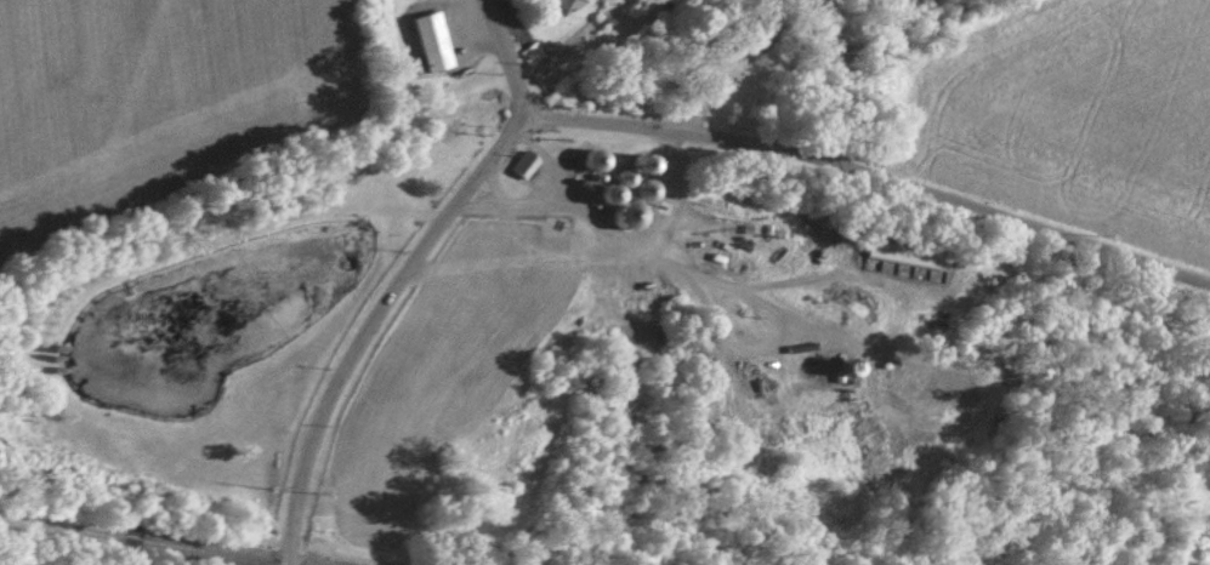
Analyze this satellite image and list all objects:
building: (558, 5)
building: (427, 42)
road: (755, 52)
building: (532, 53)
road: (546, 158)
road: (870, 160)
building: (522, 166)
road: (493, 184)
road: (670, 190)
road: (547, 204)
road: (601, 258)
building: (916, 258)
road: (402, 274)
railway: (136, 542)

